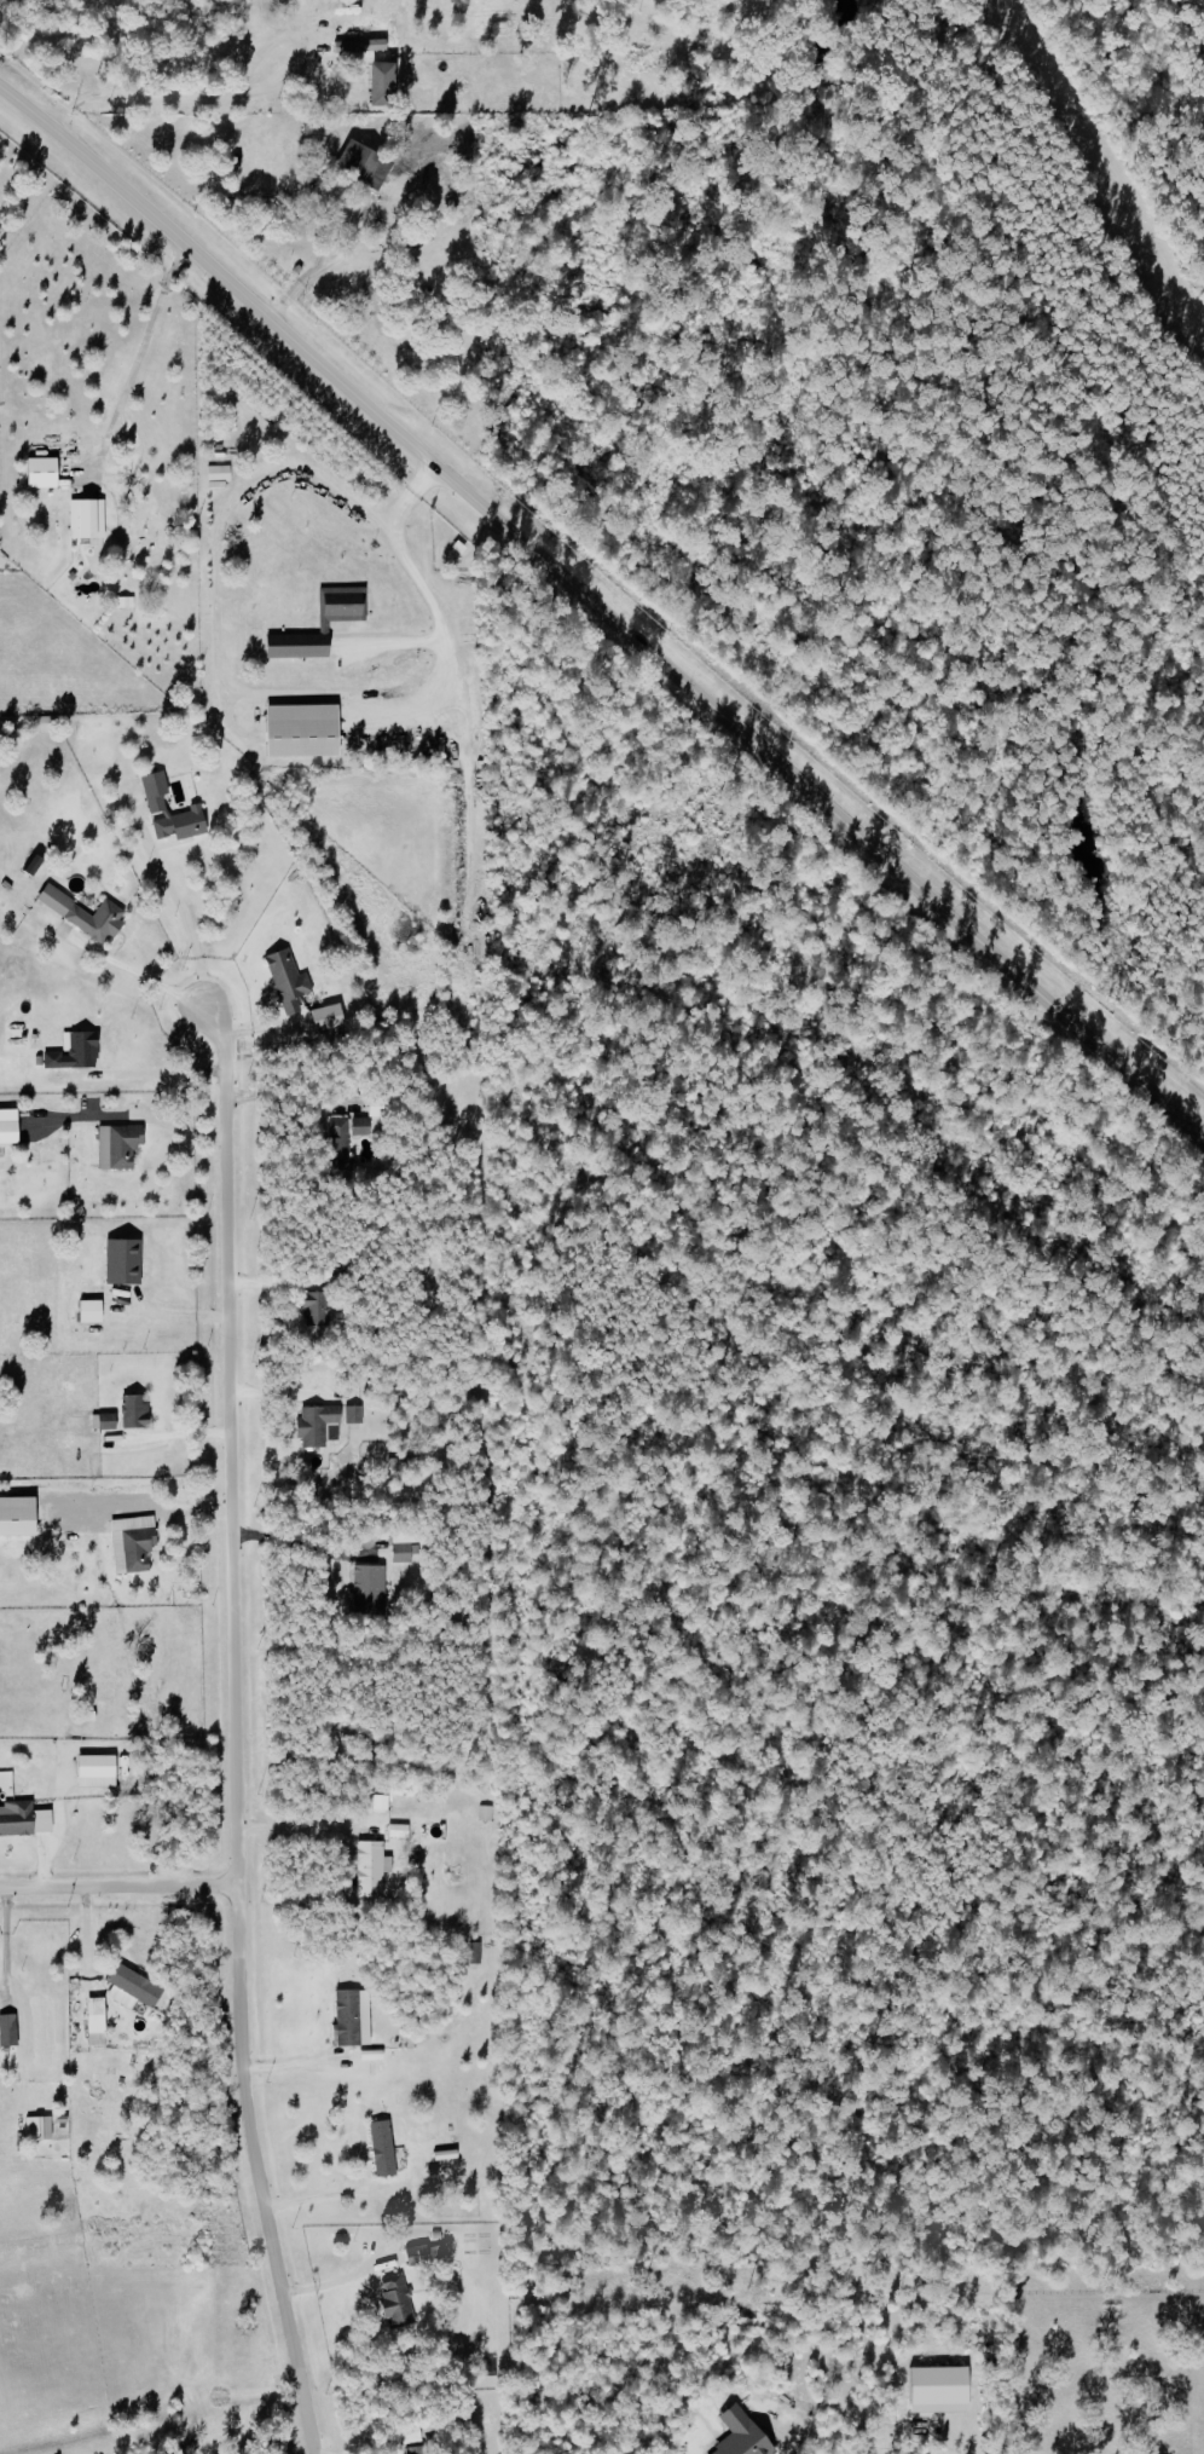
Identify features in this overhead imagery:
road: (21, 21)
building: (358, 46)
building: (378, 85)
road: (247, 100)
building: (359, 164)
road: (311, 288)
road: (143, 368)
building: (39, 473)
building: (215, 477)
building: (85, 519)
road: (417, 581)
building: (121, 604)
road: (604, 617)
building: (322, 628)
building: (297, 732)
building: (155, 808)
building: (30, 866)
road: (175, 894)
building: (81, 913)
building: (285, 980)
building: (325, 1017)
building: (71, 1051)
road: (138, 1075)
road: (279, 1103)
building: (359, 1126)
building: (6, 1132)
building: (336, 1144)
building: (116, 1145)
building: (121, 1260)
building: (313, 1307)
building: (87, 1311)
building: (133, 1411)
building: (352, 1414)
building: (102, 1421)
building: (316, 1426)
road: (174, 1434)
building: (131, 1543)
road: (300, 1546)
building: (366, 1589)
road: (233, 1726)
building: (92, 1771)
building: (485, 1813)
building: (16, 1819)
road: (294, 1831)
building: (396, 1831)
building: (369, 1869)
road: (118, 1886)
building: (474, 1952)
building: (128, 1988)
building: (346, 2019)
building: (7, 2031)
building: (41, 2129)
building: (381, 2148)
road: (332, 2194)
building: (415, 2256)
building: (394, 2302)
building: (936, 2391)
building: (413, 2450)

